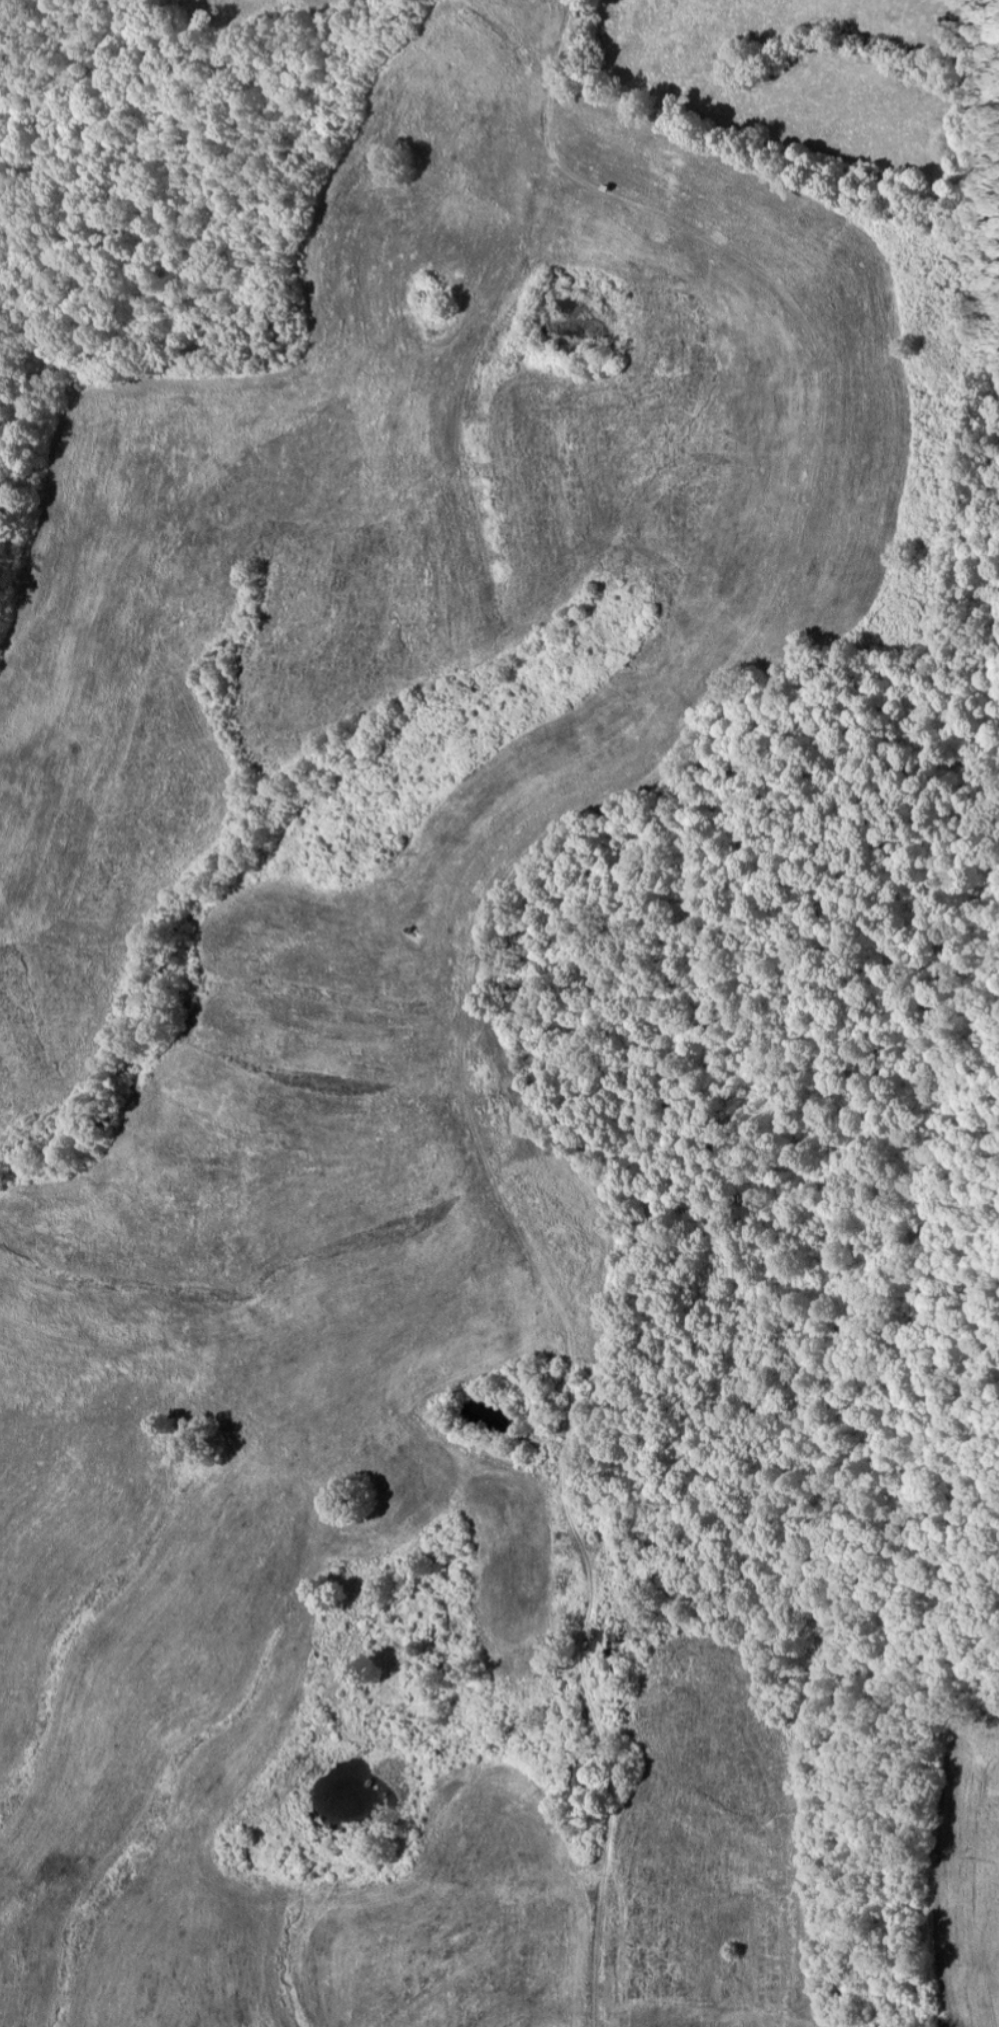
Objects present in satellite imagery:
road: (611, 1910)

